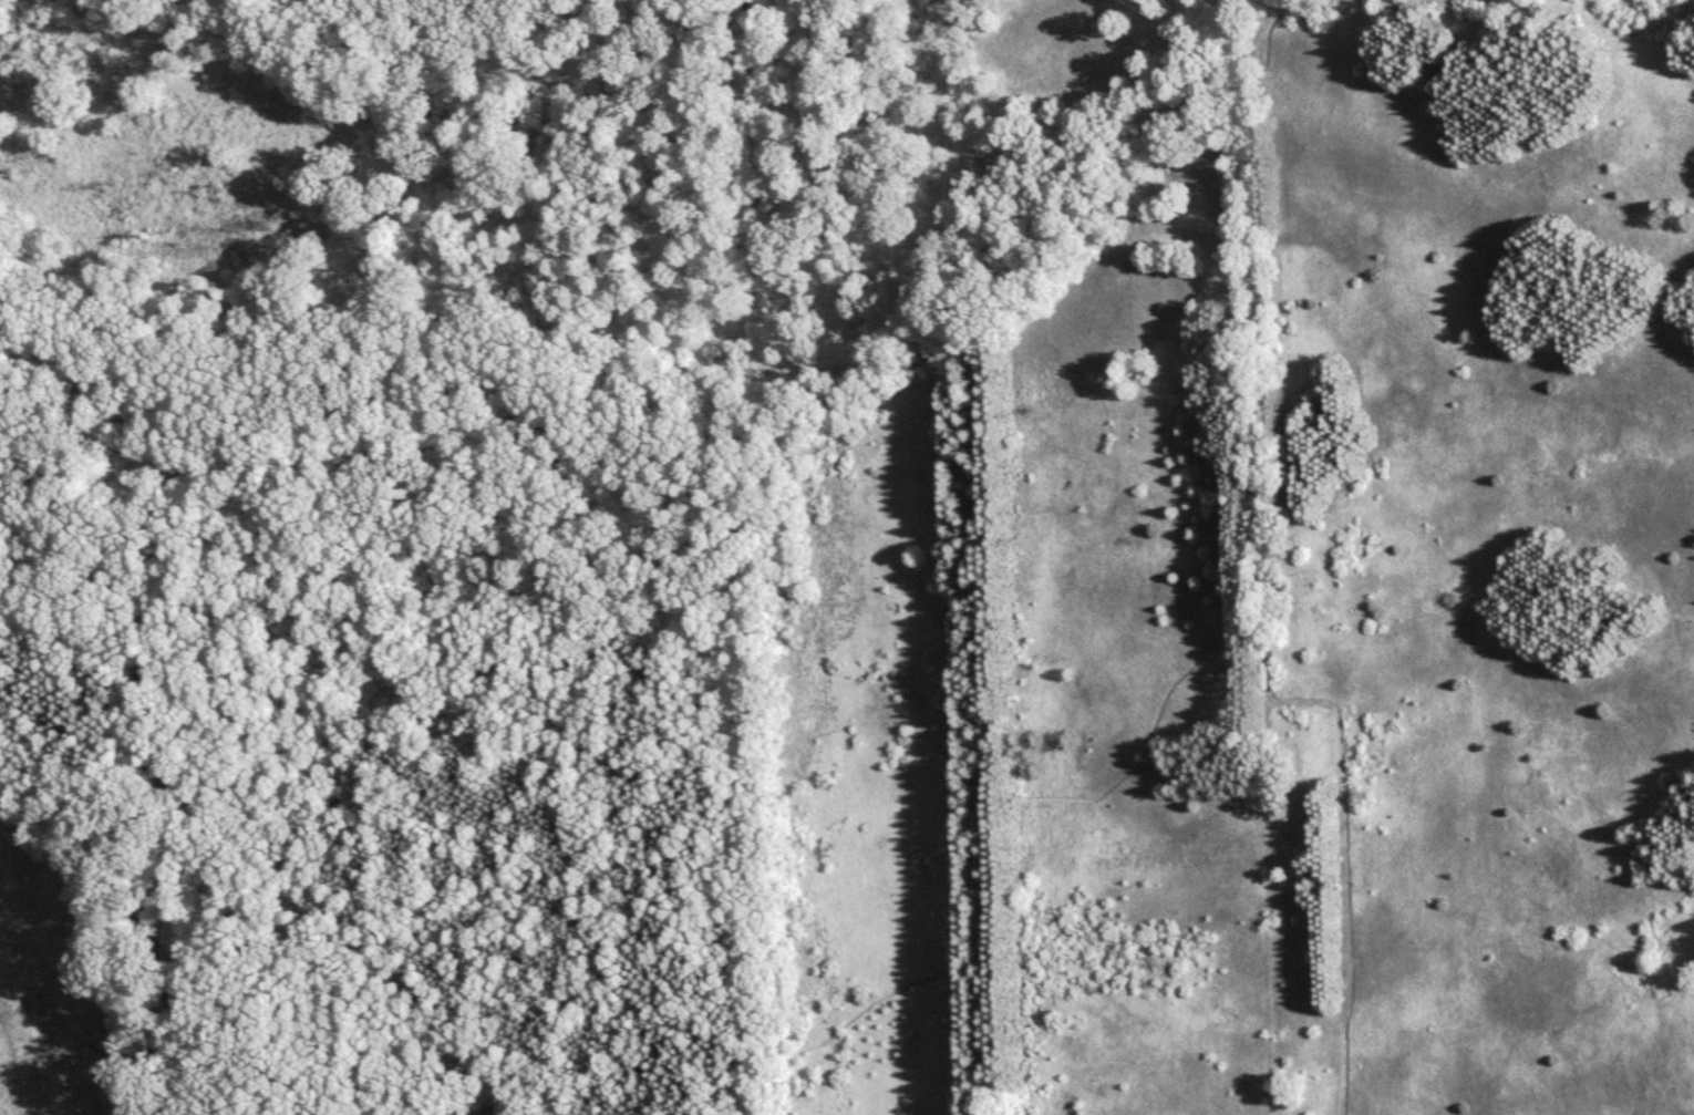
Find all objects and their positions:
road: (425, 1049)

